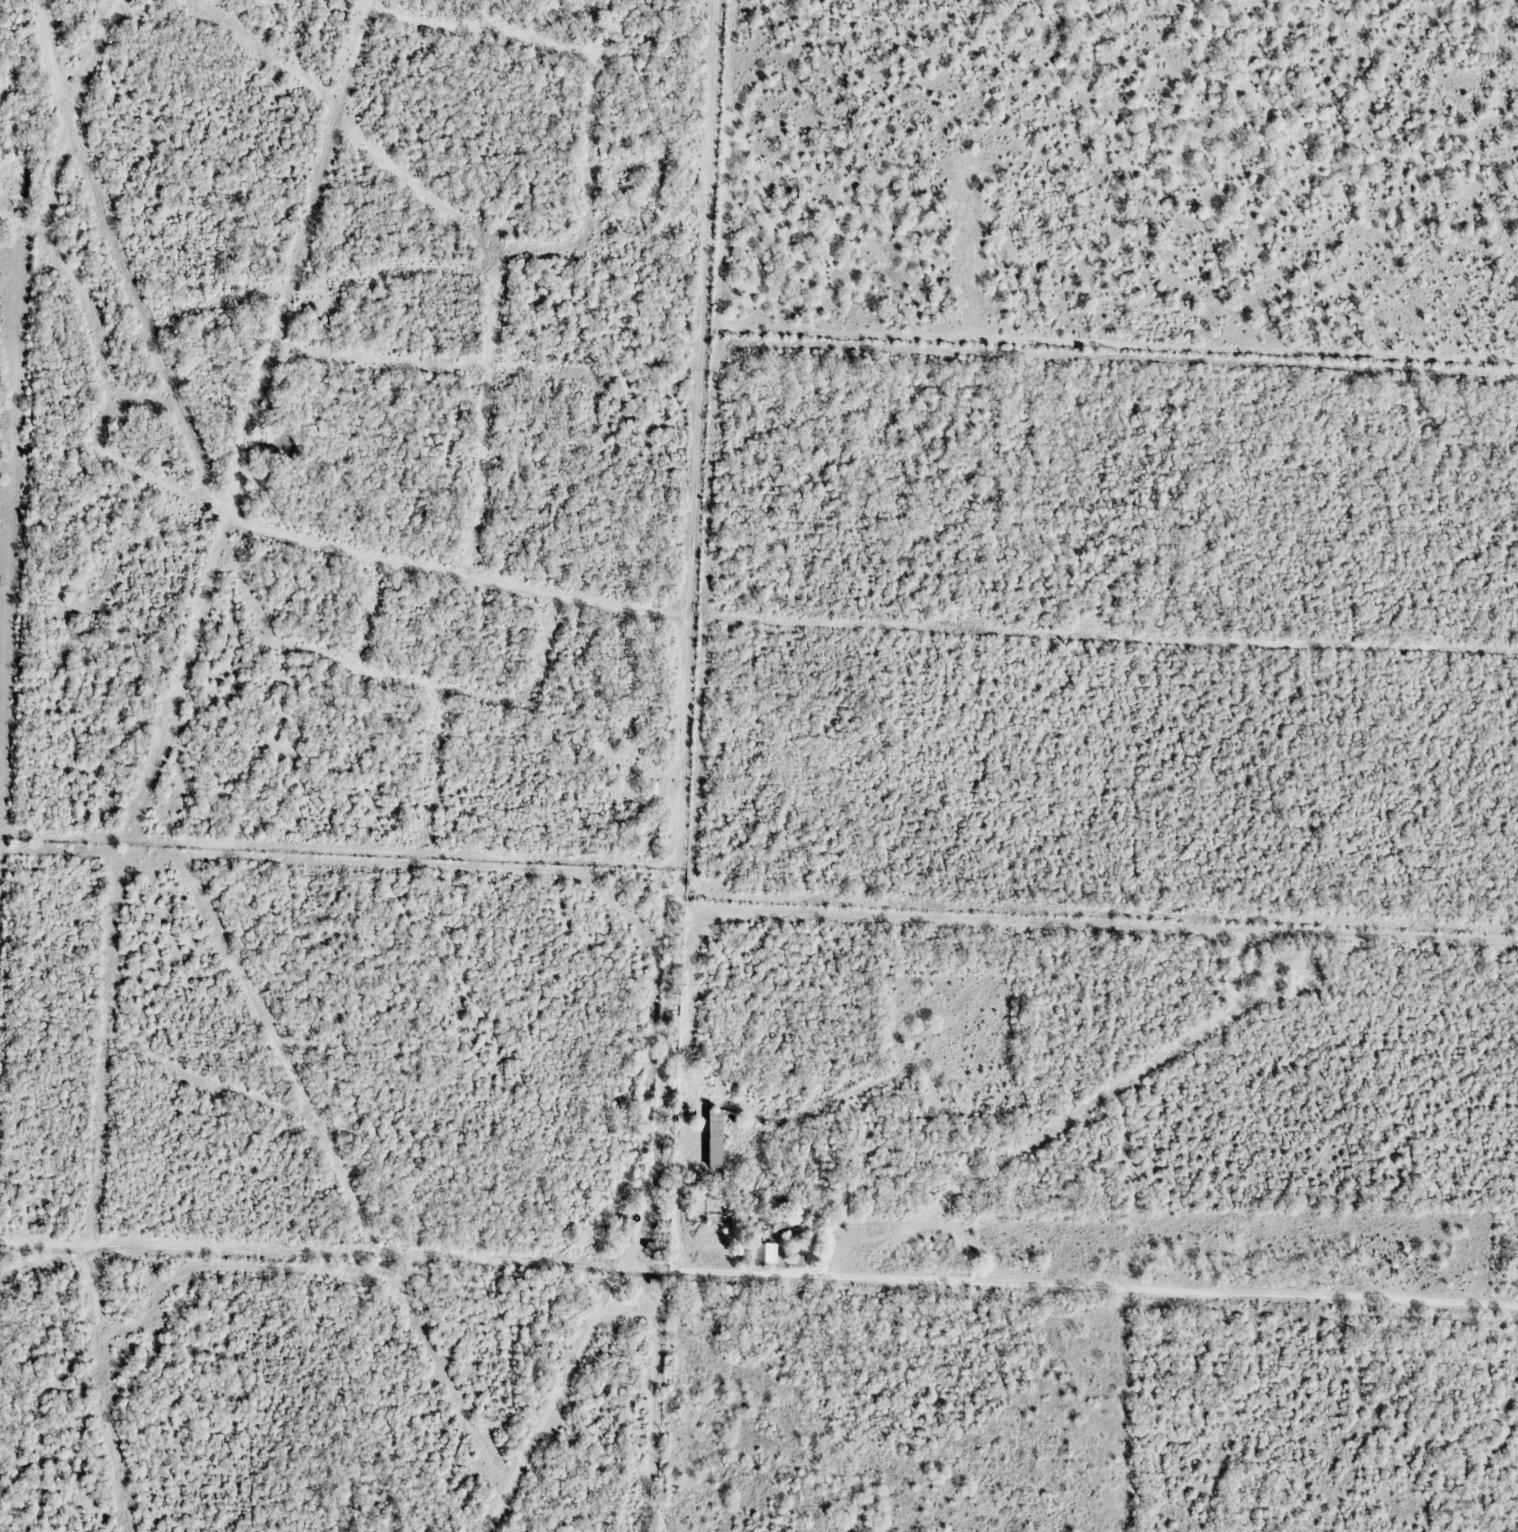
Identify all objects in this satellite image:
building: (716, 1137)
building: (766, 1251)
building: (799, 1260)

